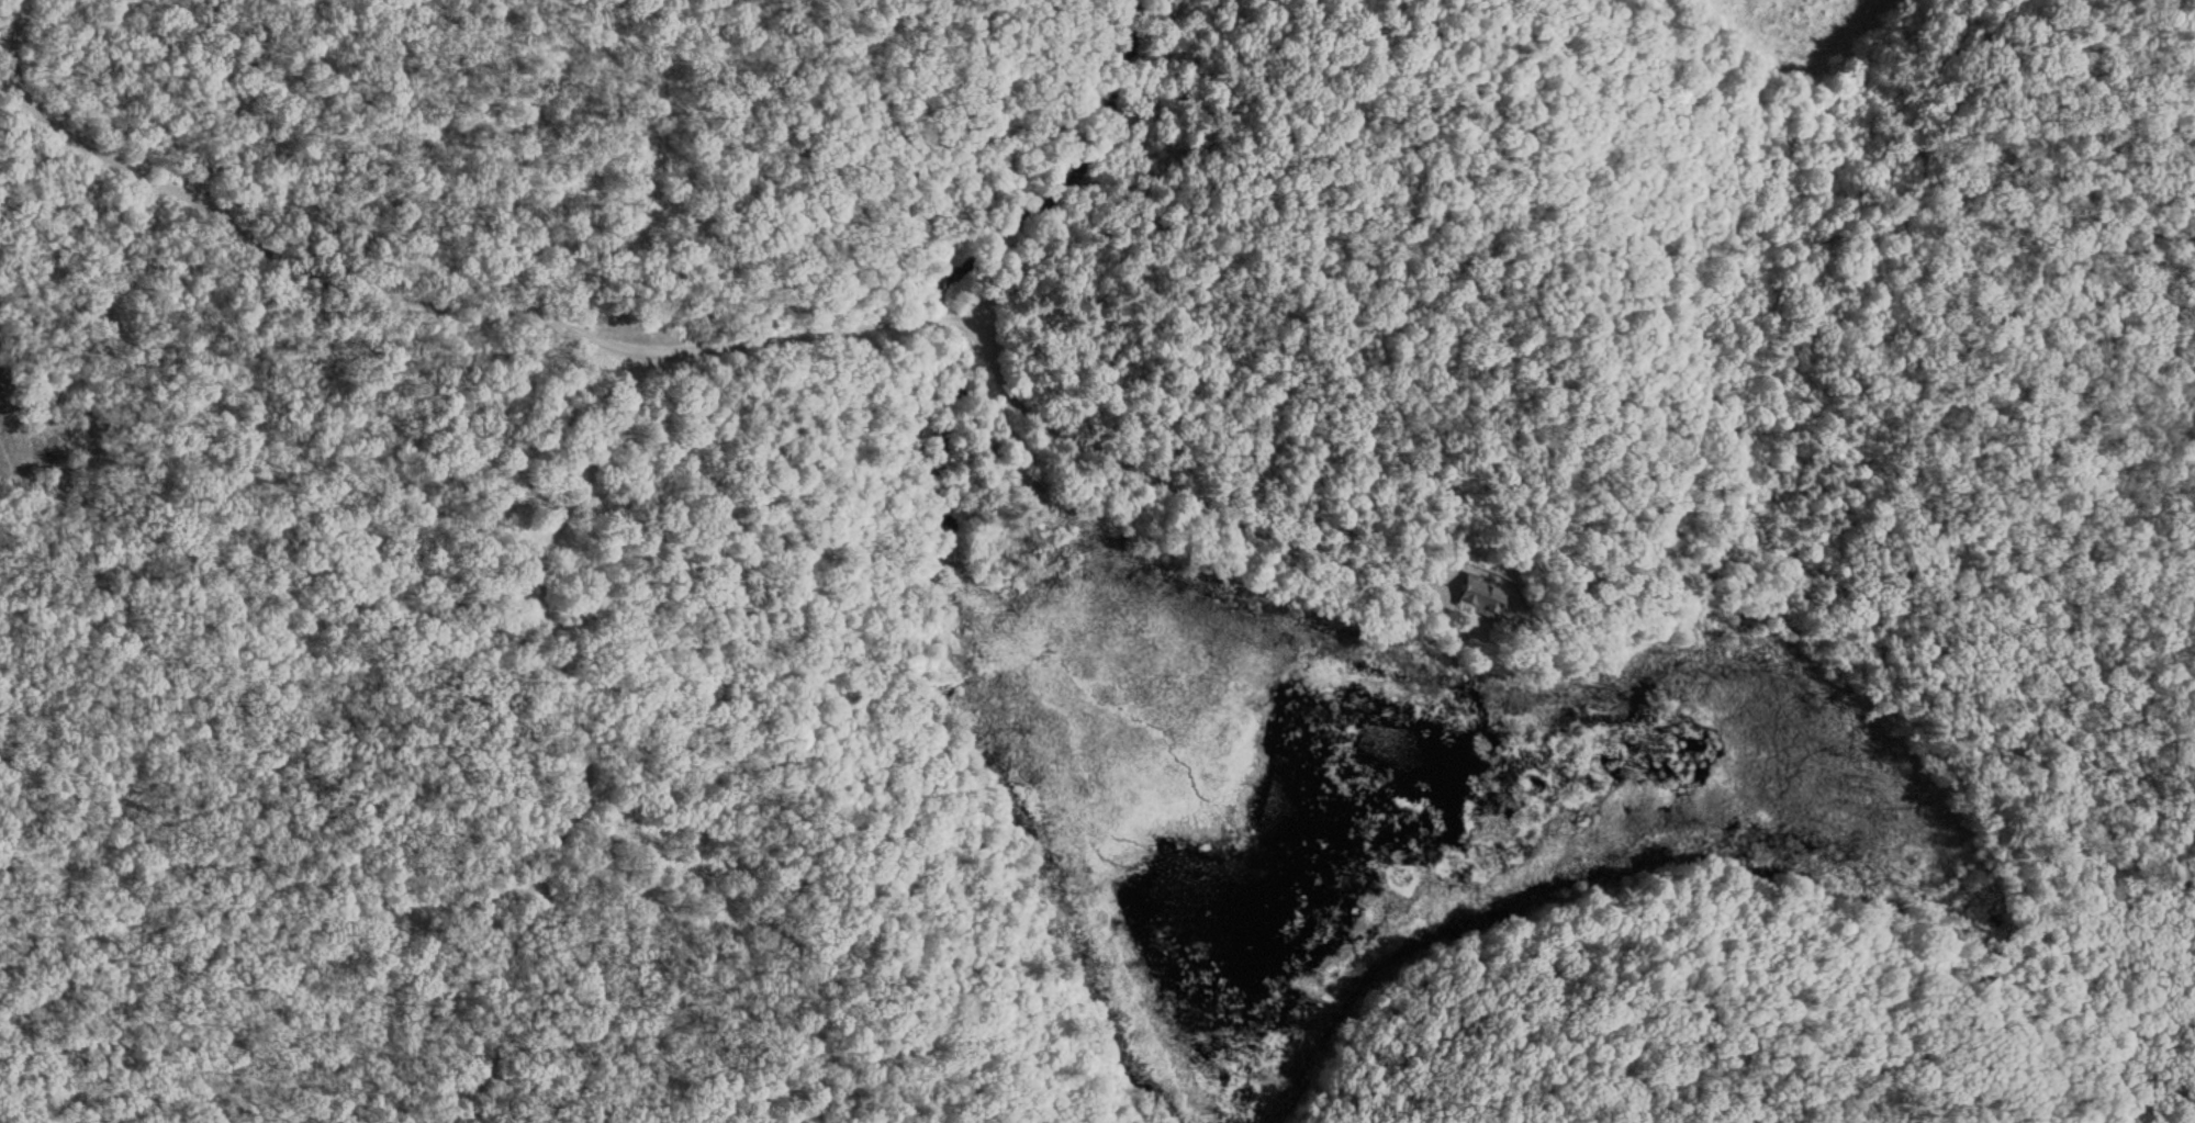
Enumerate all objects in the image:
road: (685, 345)
building: (1481, 596)

